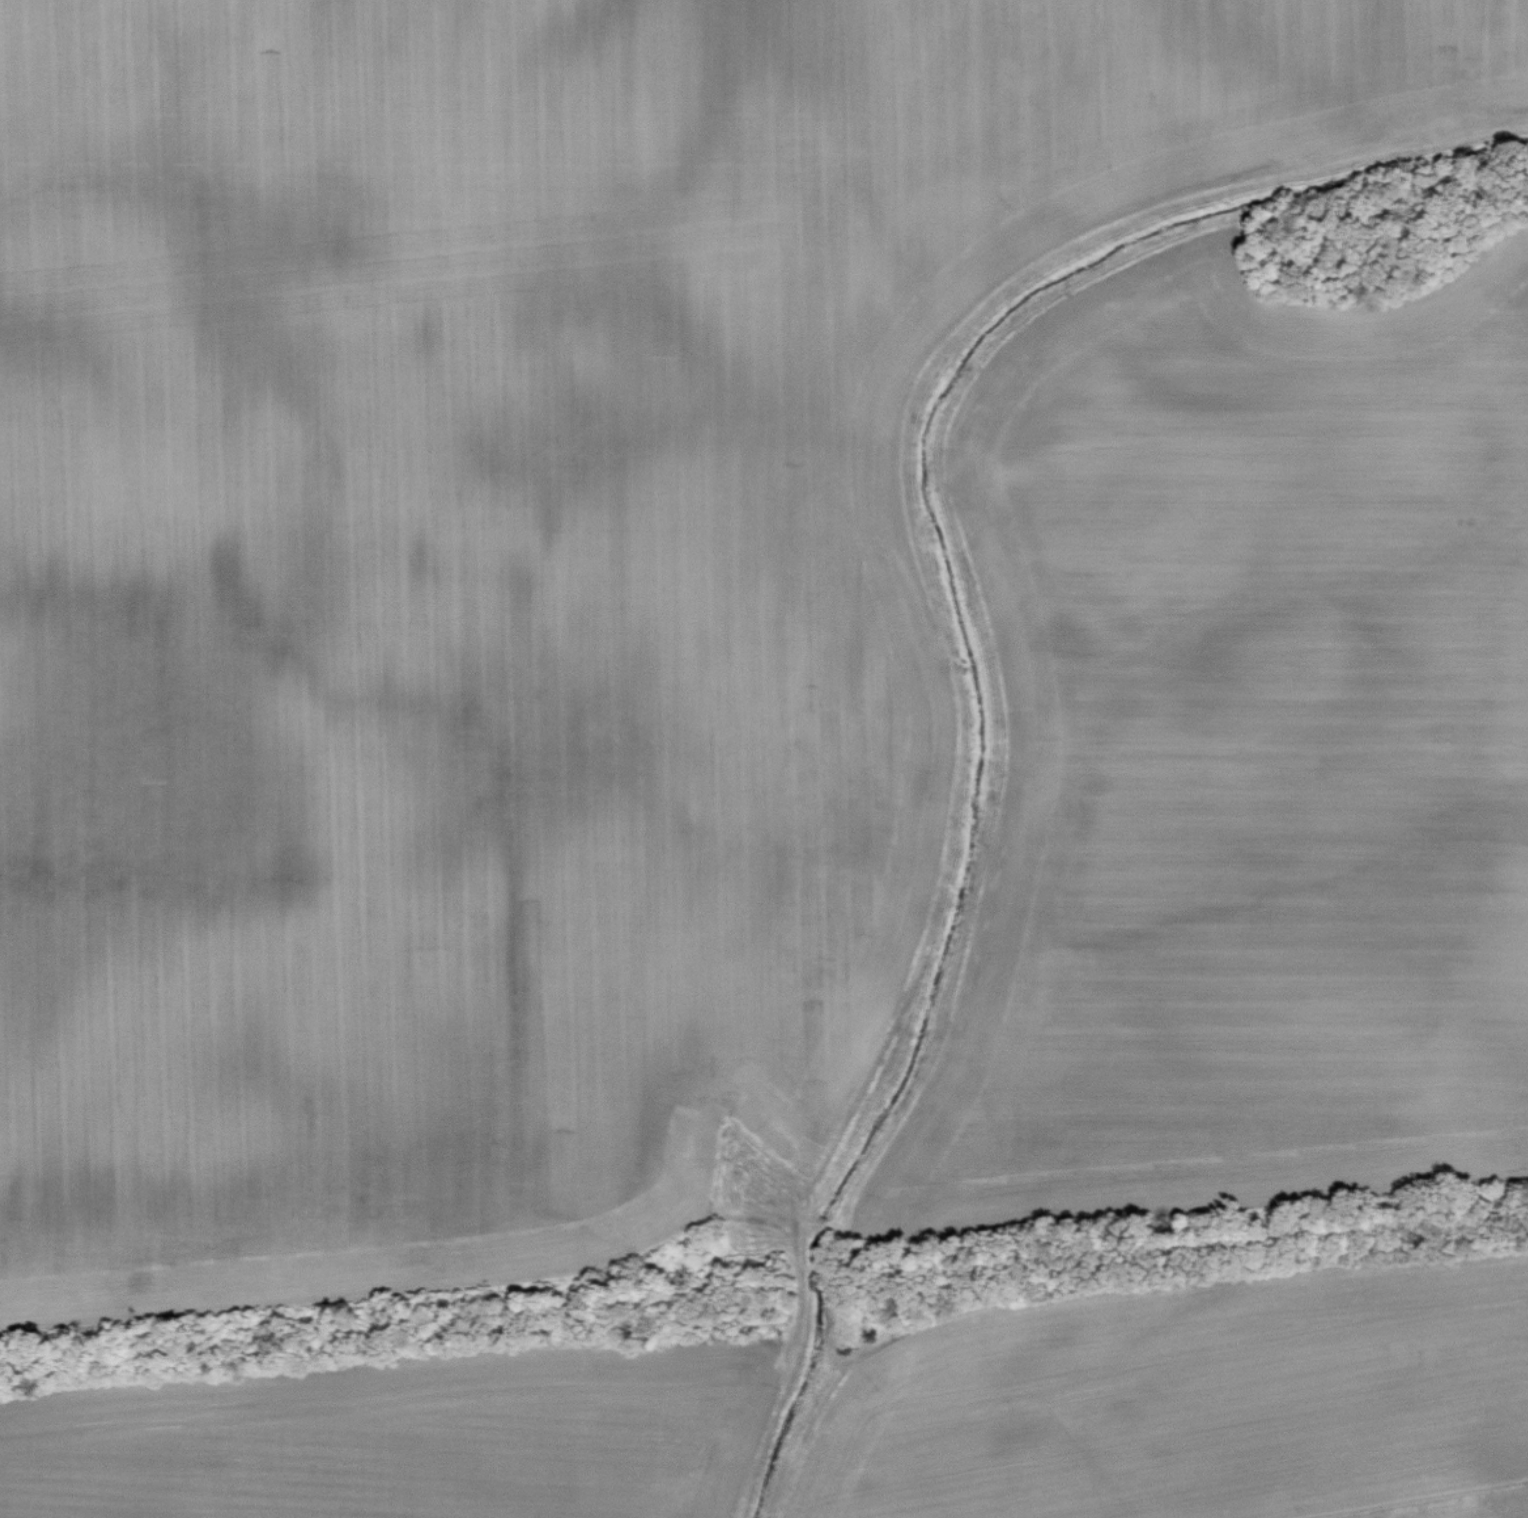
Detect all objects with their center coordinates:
airport runway: (1514, 1515)

